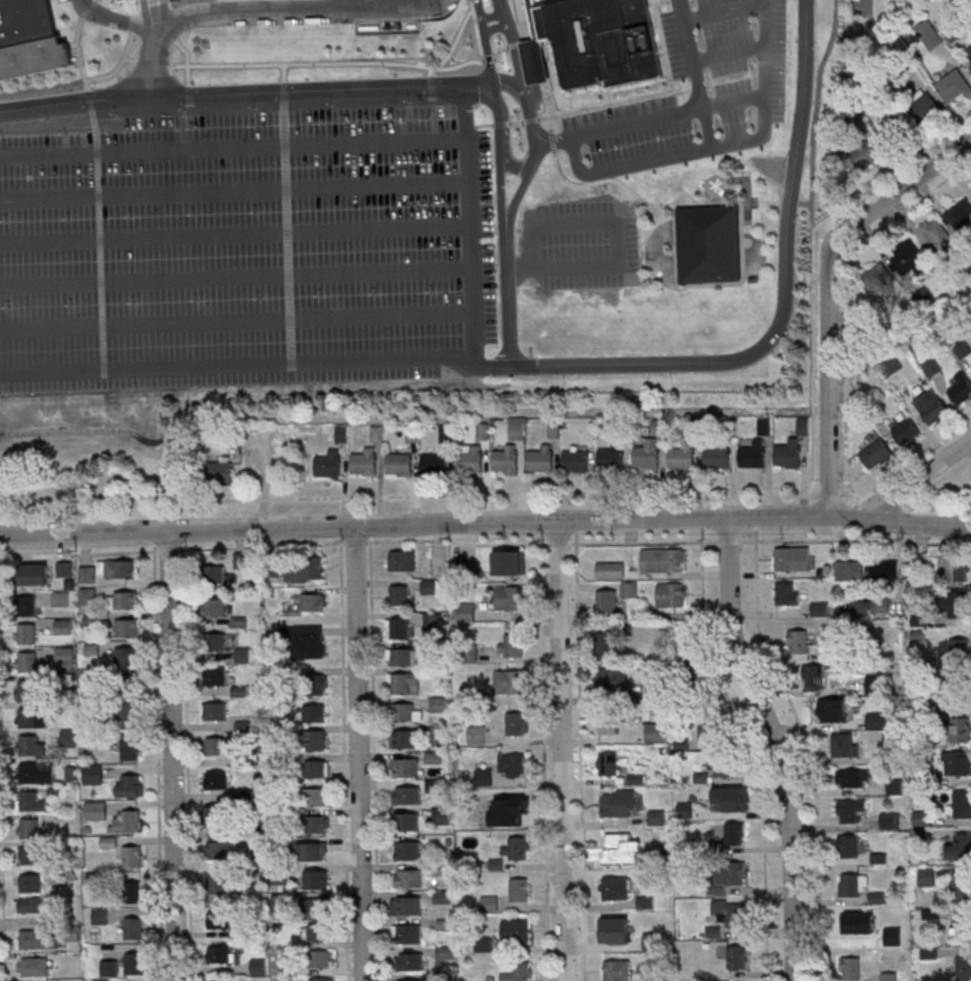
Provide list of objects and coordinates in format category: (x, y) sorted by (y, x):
road: (517, 0)
parking lot: (65, 1)
road: (99, 1)
road: (867, 4)
road: (473, 5)
road: (139, 7)
road: (90, 9)
road: (520, 9)
road: (281, 12)
road: (728, 12)
road: (495, 15)
road: (118, 19)
building: (27, 22)
road: (137, 23)
building: (537, 23)
street lamp: (96, 26)
road: (157, 28)
road: (498, 28)
road: (480, 36)
road: (833, 37)
road: (487, 39)
building: (605, 41)
road: (457, 44)
road: (519, 44)
road: (74, 45)
road: (156, 48)
road: (80, 52)
road: (502, 52)
road: (731, 54)
building: (969, 57)
building: (34, 58)
road: (189, 59)
road: (129, 60)
road: (491, 61)
building: (538, 63)
road: (153, 64)
road: (329, 64)
road: (542, 65)
road: (286, 73)
road: (698, 74)
road: (464, 80)
road: (513, 80)
road: (81, 83)
road: (435, 86)
road: (217, 94)
road: (468, 94)
road: (287, 99)
road: (191, 102)
road: (90, 107)
road: (699, 109)
building: (926, 109)
road: (531, 112)
road: (539, 119)
road: (503, 124)
road: (486, 126)
road: (287, 127)
road: (97, 139)
road: (554, 142)
road: (348, 143)
road: (508, 148)
road: (501, 150)
building: (867, 151)
road: (814, 154)
road: (676, 156)
road: (893, 171)
road: (720, 174)
road: (630, 191)
road: (235, 192)
road: (632, 212)
building: (961, 215)
road: (236, 235)
road: (618, 236)
building: (937, 236)
road: (828, 238)
parking lot: (584, 245)
building: (711, 245)
parking lot: (248, 247)
road: (832, 247)
road: (290, 250)
building: (909, 258)
road: (101, 261)
road: (237, 278)
building: (877, 279)
road: (846, 289)
road: (510, 295)
road: (785, 304)
road: (238, 321)
road: (813, 354)
road: (257, 364)
building: (894, 365)
building: (961, 392)
building: (932, 408)
road: (666, 411)
building: (658, 427)
building: (517, 428)
building: (483, 431)
building: (906, 432)
building: (378, 433)
building: (448, 433)
building: (790, 454)
building: (648, 455)
building: (754, 455)
building: (876, 455)
building: (719, 456)
building: (684, 457)
road: (948, 457)
building: (614, 458)
building: (507, 459)
building: (543, 460)
building: (473, 461)
building: (366, 463)
building: (577, 463)
building: (331, 465)
road: (907, 465)
building: (401, 466)
building: (436, 466)
road: (829, 468)
building: (221, 471)
road: (938, 480)
road: (829, 485)
road: (844, 485)
road: (881, 490)
road: (901, 492)
road: (409, 494)
road: (894, 497)
road: (936, 508)
road: (778, 515)
road: (855, 516)
road: (756, 520)
road: (927, 521)
road: (868, 522)
road: (702, 523)
road: (540, 525)
road: (576, 525)
road: (364, 526)
road: (371, 530)
road: (341, 531)
road: (864, 533)
road: (154, 536)
road: (184, 536)
road: (855, 539)
road: (456, 540)
road: (355, 541)
road: (728, 541)
road: (644, 542)
road: (264, 543)
road: (558, 543)
road: (172, 550)
road: (80, 553)
building: (792, 558)
building: (664, 559)
building: (405, 561)
building: (509, 562)
building: (118, 568)
building: (958, 568)
building: (305, 569)
building: (464, 569)
building: (611, 570)
building: (884, 570)
building: (850, 571)
building: (26, 574)
building: (87, 574)
building: (216, 575)
building: (630, 589)
building: (787, 593)
building: (672, 594)
building: (88, 595)
building: (400, 595)
building: (508, 597)
building: (61, 598)
building: (124, 600)
building: (607, 602)
building: (314, 603)
building: (27, 604)
building: (957, 604)
building: (216, 606)
building: (819, 608)
building: (434, 620)
building: (63, 626)
building: (127, 627)
building: (398, 627)
building: (26, 633)
building: (216, 641)
building: (311, 641)
building: (798, 641)
building: (606, 644)
building: (510, 645)
building: (959, 648)
building: (65, 654)
building: (128, 654)
building: (243, 654)
building: (404, 658)
building: (28, 661)
building: (816, 672)
building: (217, 676)
building: (613, 678)
building: (404, 681)
building: (508, 681)
building: (316, 684)
building: (27, 689)
building: (469, 694)
building: (438, 704)
building: (216, 710)
building: (831, 710)
building: (132, 711)
building: (405, 713)
building: (316, 714)
building: (32, 717)
building: (877, 720)
building: (517, 723)
building: (608, 725)
building: (707, 730)
building: (960, 730)
building: (656, 732)
building: (441, 734)
building: (477, 734)
building: (69, 737)
building: (403, 738)
building: (317, 740)
building: (31, 745)
building: (217, 745)
road: (778, 745)
building: (844, 746)
road: (810, 748)
building: (131, 749)
road: (753, 750)
road: (562, 751)
road: (360, 753)
road: (545, 755)
road: (581, 755)
road: (173, 756)
road: (375, 757)
road: (345, 758)
road: (159, 761)
road: (188, 761)
building: (513, 764)
building: (608, 764)
building: (957, 764)
building: (721, 765)
building: (406, 767)
building: (317, 769)
building: (37, 772)
building: (94, 774)
building: (483, 777)
building: (854, 778)
building: (217, 780)
building: (131, 784)
building: (895, 787)
building: (407, 796)
building: (730, 797)
building: (316, 798)
building: (31, 801)
building: (620, 803)
building: (961, 805)
building: (513, 806)
building: (96, 809)
building: (850, 810)
building: (442, 817)
building: (486, 817)
building: (218, 819)
building: (891, 819)
road: (3, 820)
building: (408, 822)
building: (317, 825)
building: (29, 827)
building: (735, 833)
building: (847, 845)
building: (611, 846)
building: (959, 847)
building: (517, 848)
building: (218, 849)
building: (407, 850)
building: (313, 851)
building: (31, 855)
building: (133, 856)
building: (727, 876)
building: (408, 877)
building: (926, 877)
building: (319, 880)
building: (32, 883)
building: (852, 883)
building: (220, 885)
building: (959, 887)
building: (614, 888)
building: (519, 889)
building: (134, 892)
building: (443, 896)
building: (489, 903)
building: (30, 904)
building: (407, 905)
building: (319, 908)
building: (730, 911)
building: (101, 915)
building: (220, 919)
building: (960, 925)
building: (847, 927)
building: (134, 928)
building: (616, 930)
building: (515, 931)
building: (320, 933)
building: (408, 933)
building: (37, 939)
building: (483, 944)
building: (445, 952)
building: (222, 953)
building: (737, 956)
building: (321, 960)
building: (134, 963)
building: (412, 963)
building: (34, 966)
building: (258, 966)
building: (110, 968)
building: (850, 968)
building: (963, 968)
building: (617, 970)
building: (515, 971)
building: (889, 976)
building: (101, 980)
building: (221, 980)
building: (323, 980)
building: (409, 980)

